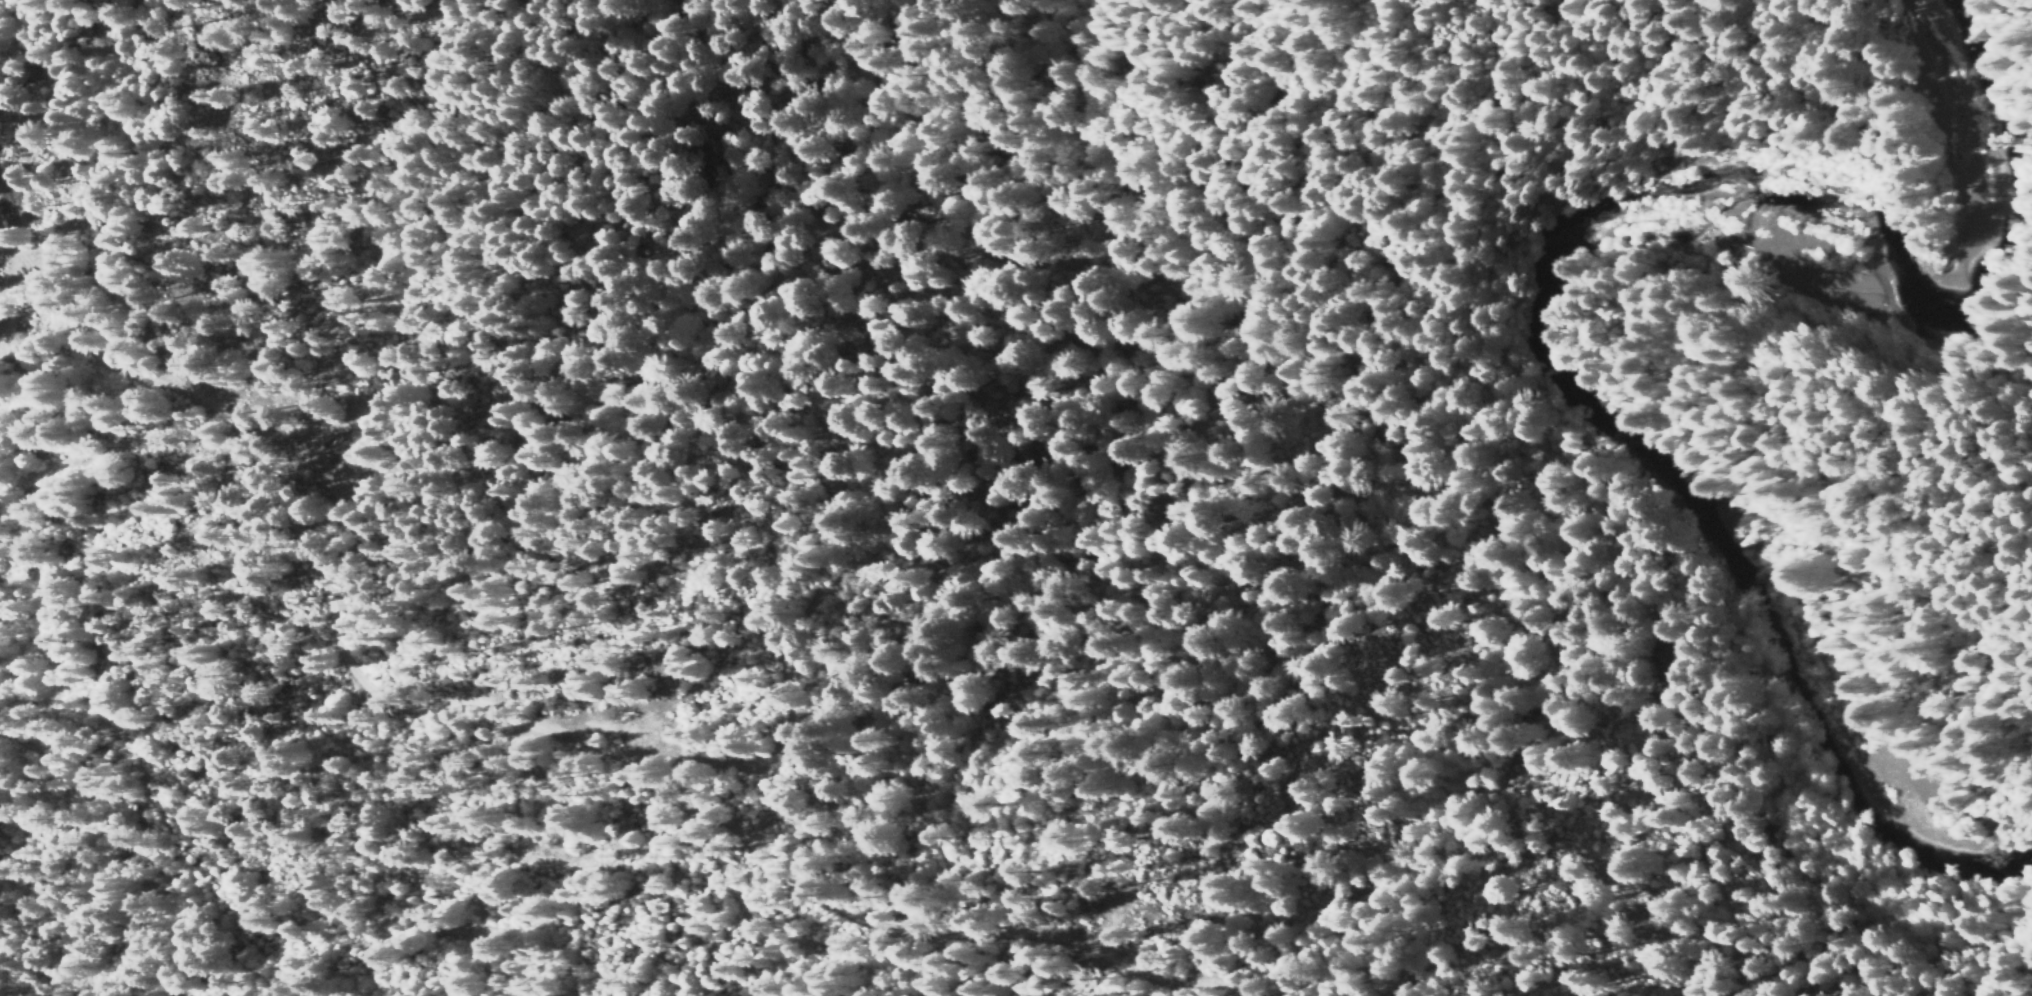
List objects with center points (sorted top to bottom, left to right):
river: (1534, 290)

